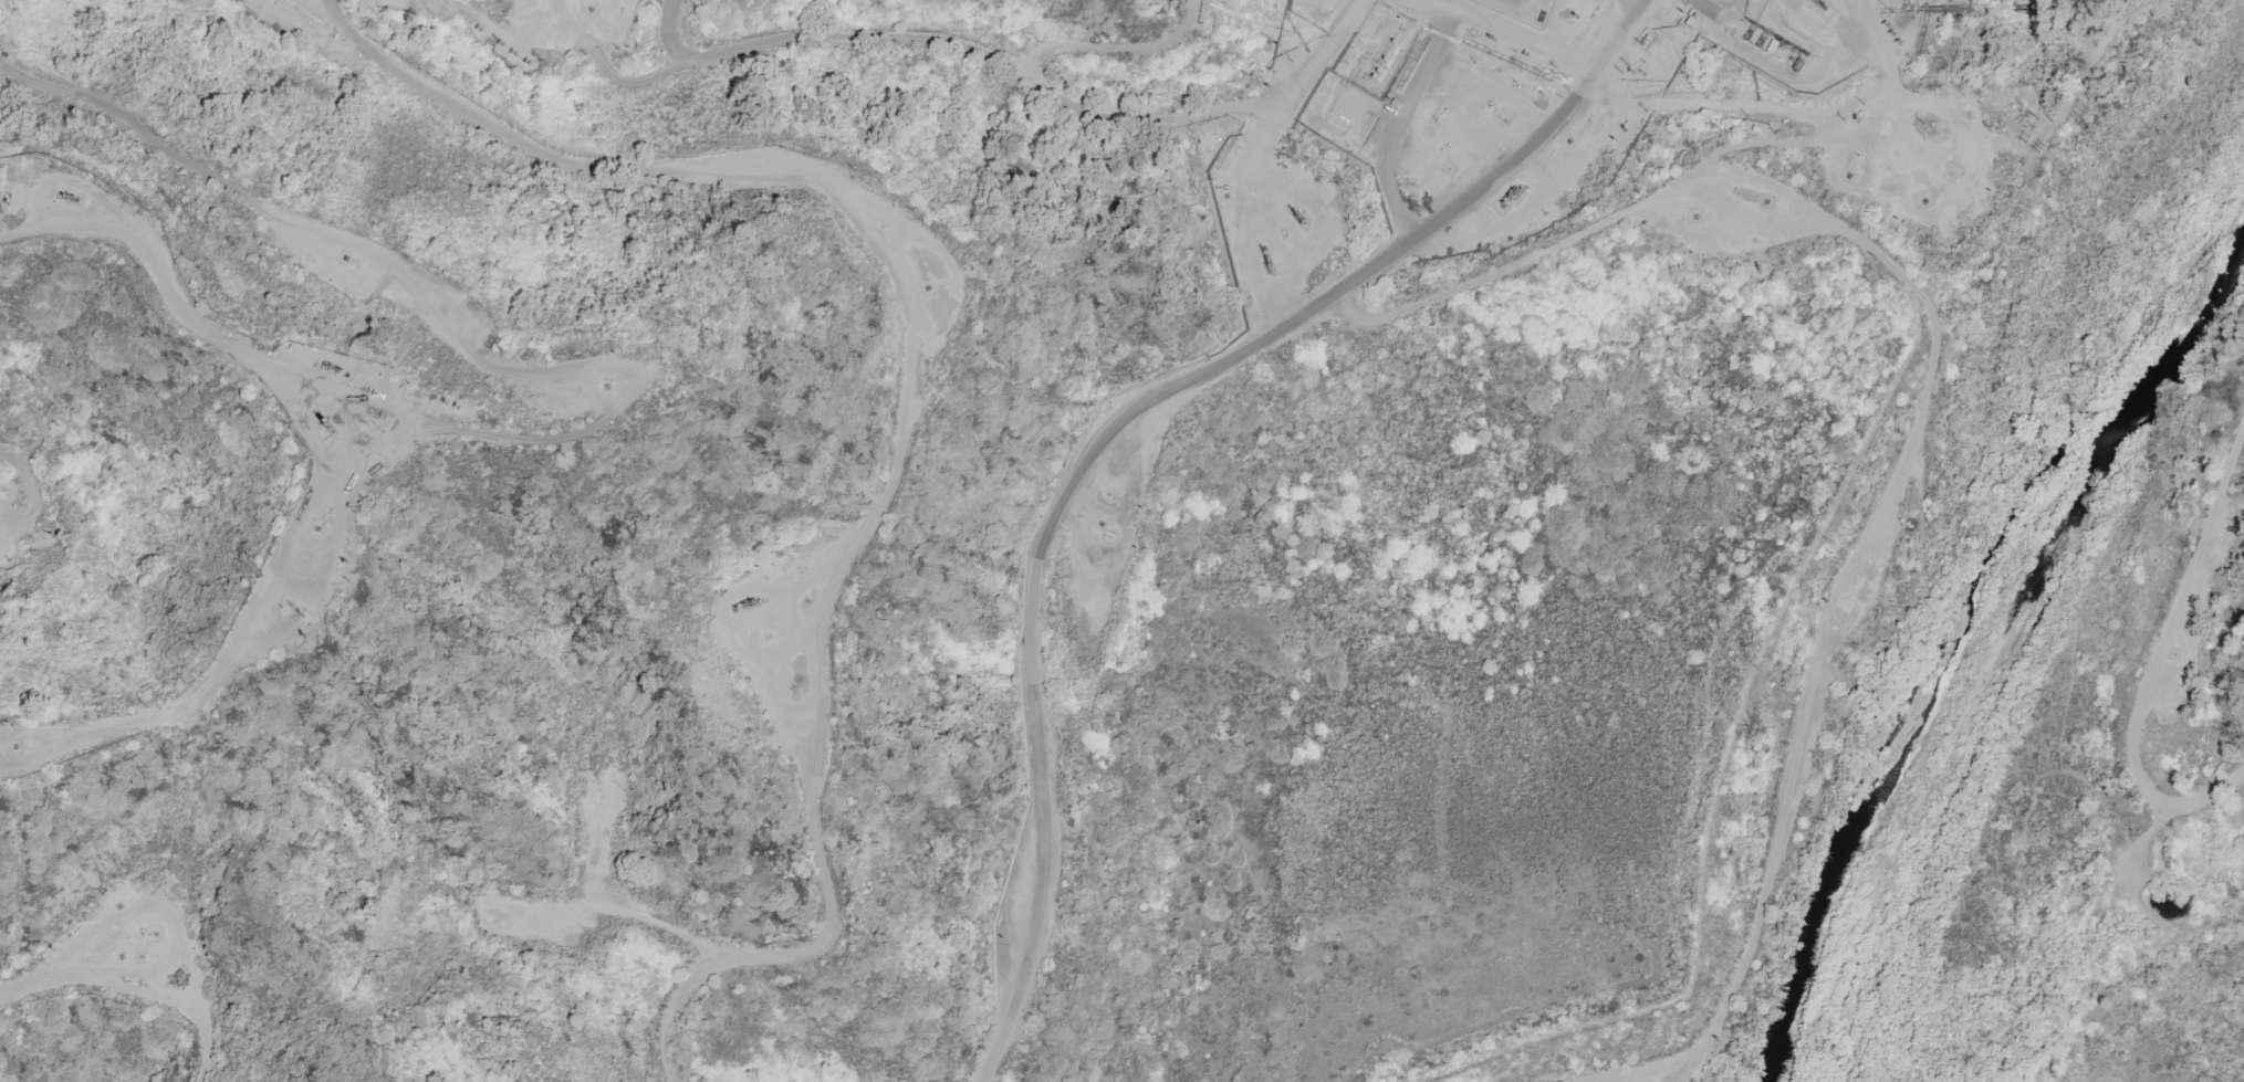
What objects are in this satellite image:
road: (1430, 9)
road: (1430, 56)
road: (1494, 275)
road: (1128, 424)
river: (1981, 586)

